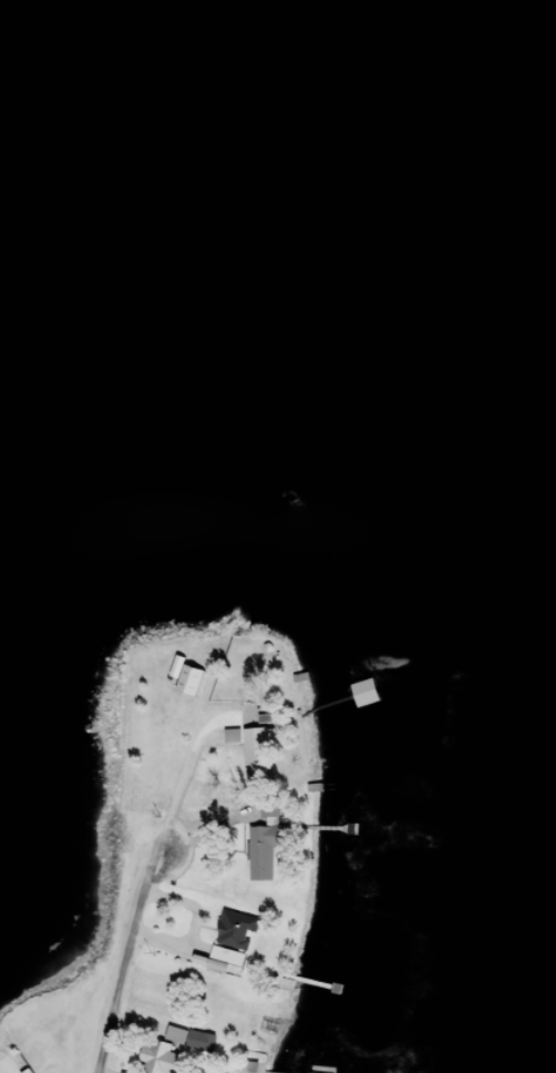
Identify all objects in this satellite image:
building: (189, 686)
building: (235, 744)
building: (259, 760)
building: (267, 854)
building: (238, 939)
road: (128, 957)
building: (224, 969)
building: (192, 1046)
building: (161, 1062)
building: (253, 1071)

